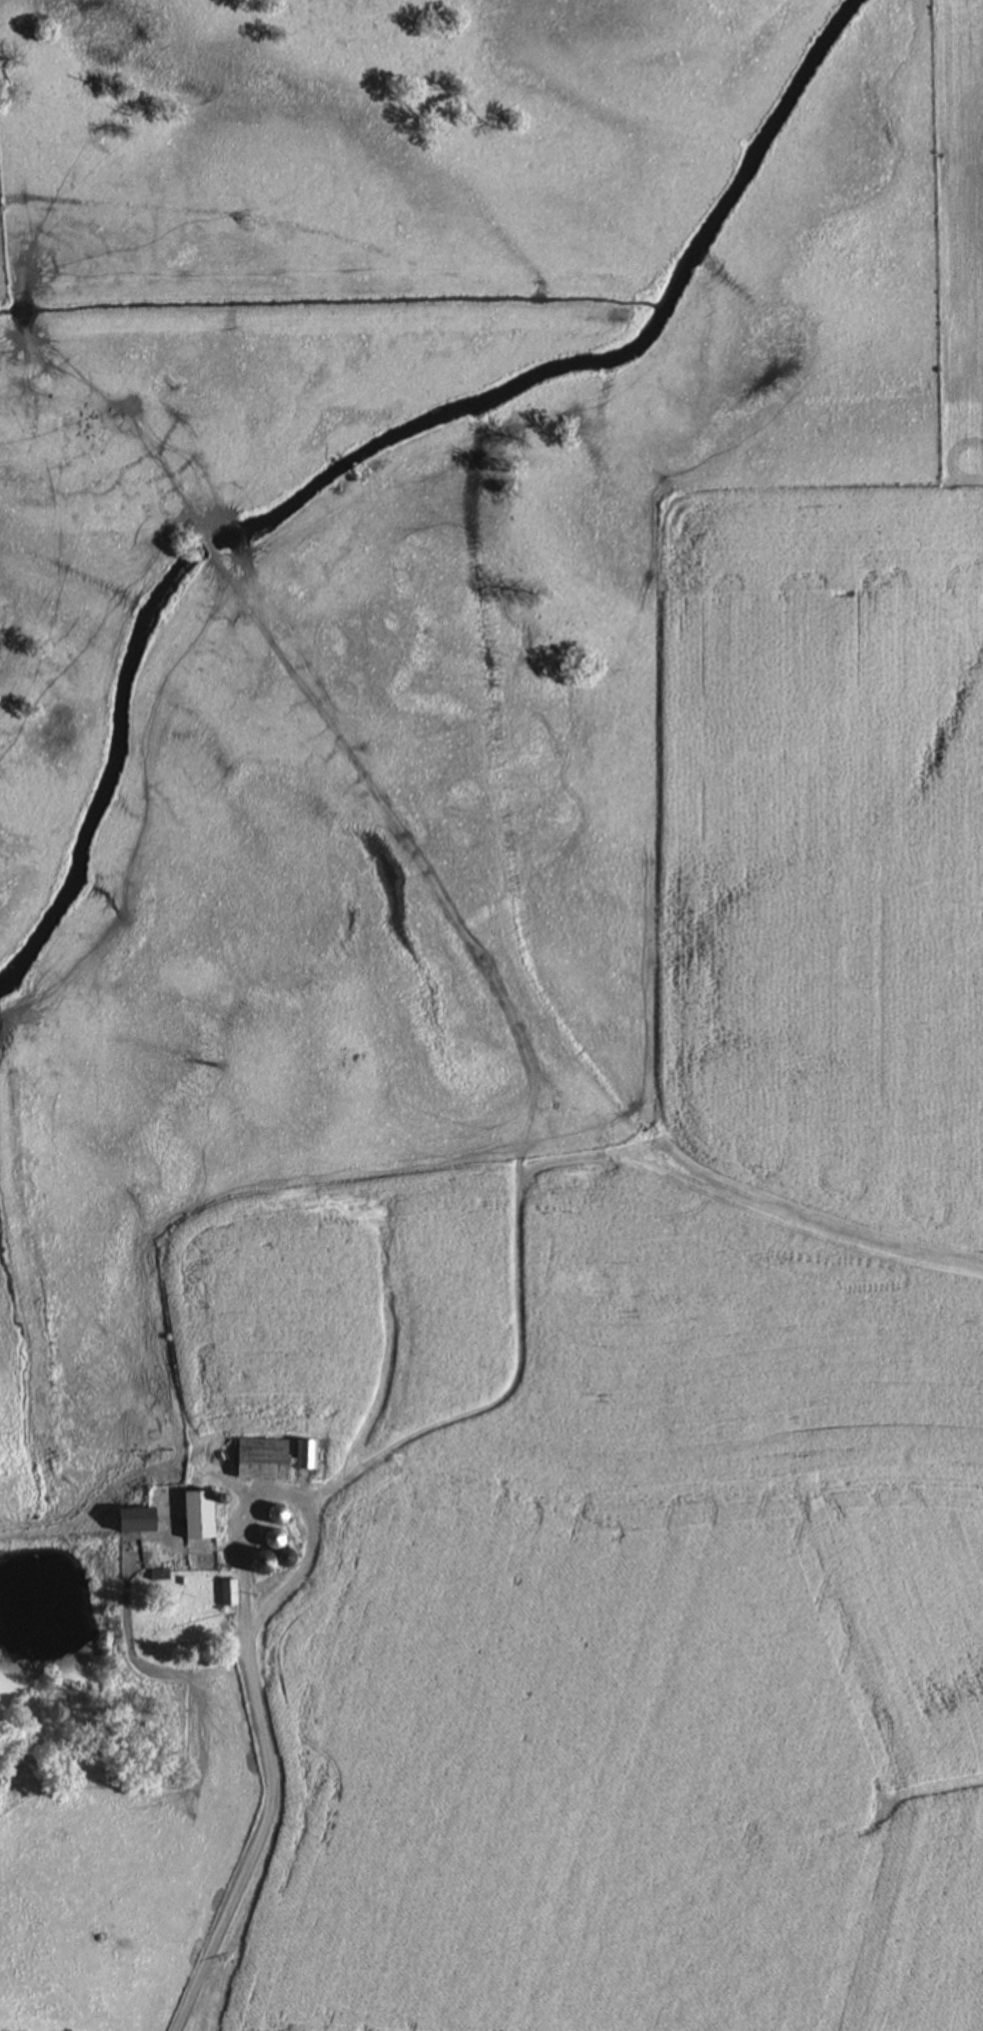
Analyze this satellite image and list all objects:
river: (375, 445)
building: (305, 1451)
building: (262, 1456)
building: (277, 1511)
building: (199, 1512)
building: (138, 1517)
building: (274, 1536)
building: (287, 1555)
building: (257, 1563)
building: (227, 1590)

